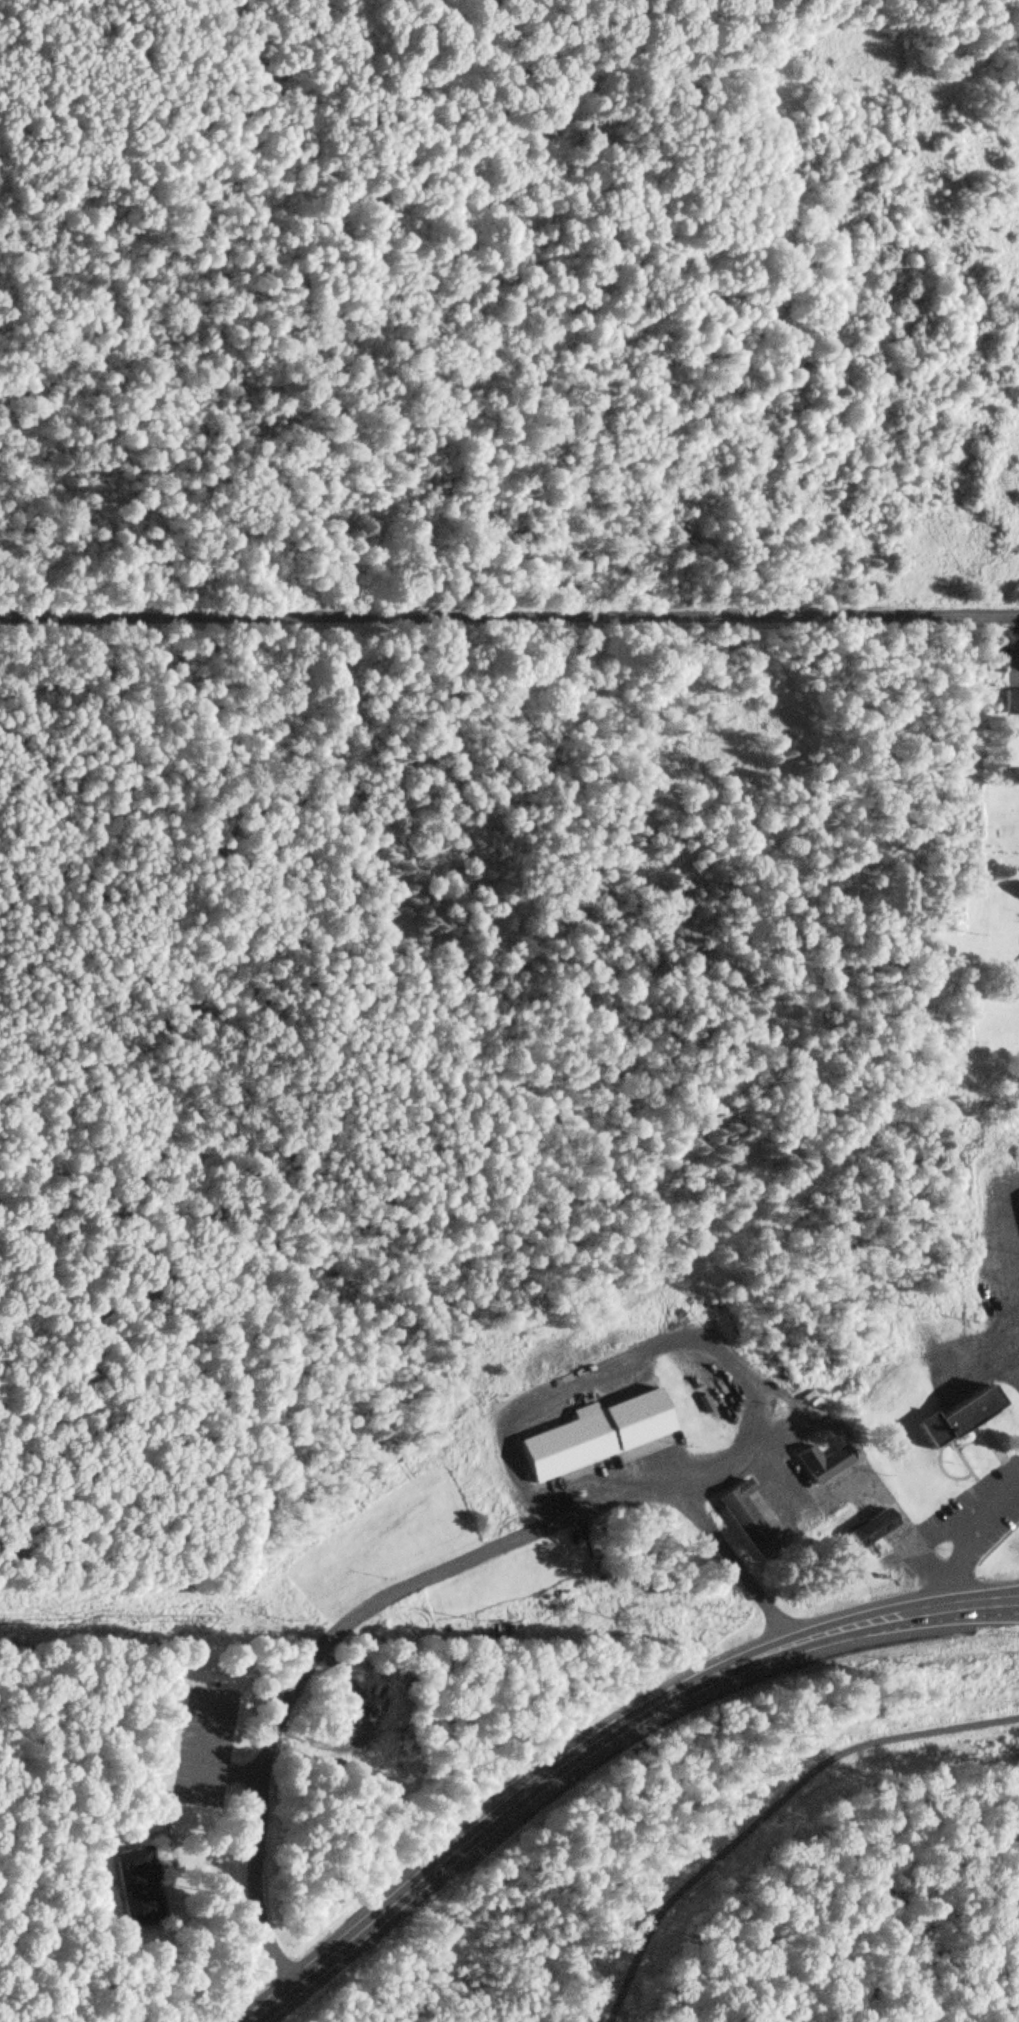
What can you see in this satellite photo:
road: (120, 537)
road: (509, 632)
building: (992, 663)
building: (1009, 703)
building: (956, 1416)
building: (587, 1440)
building: (821, 1463)
building: (745, 1520)
building: (870, 1530)
road: (967, 1543)
road: (601, 1745)
road: (770, 1809)
building: (135, 1887)

